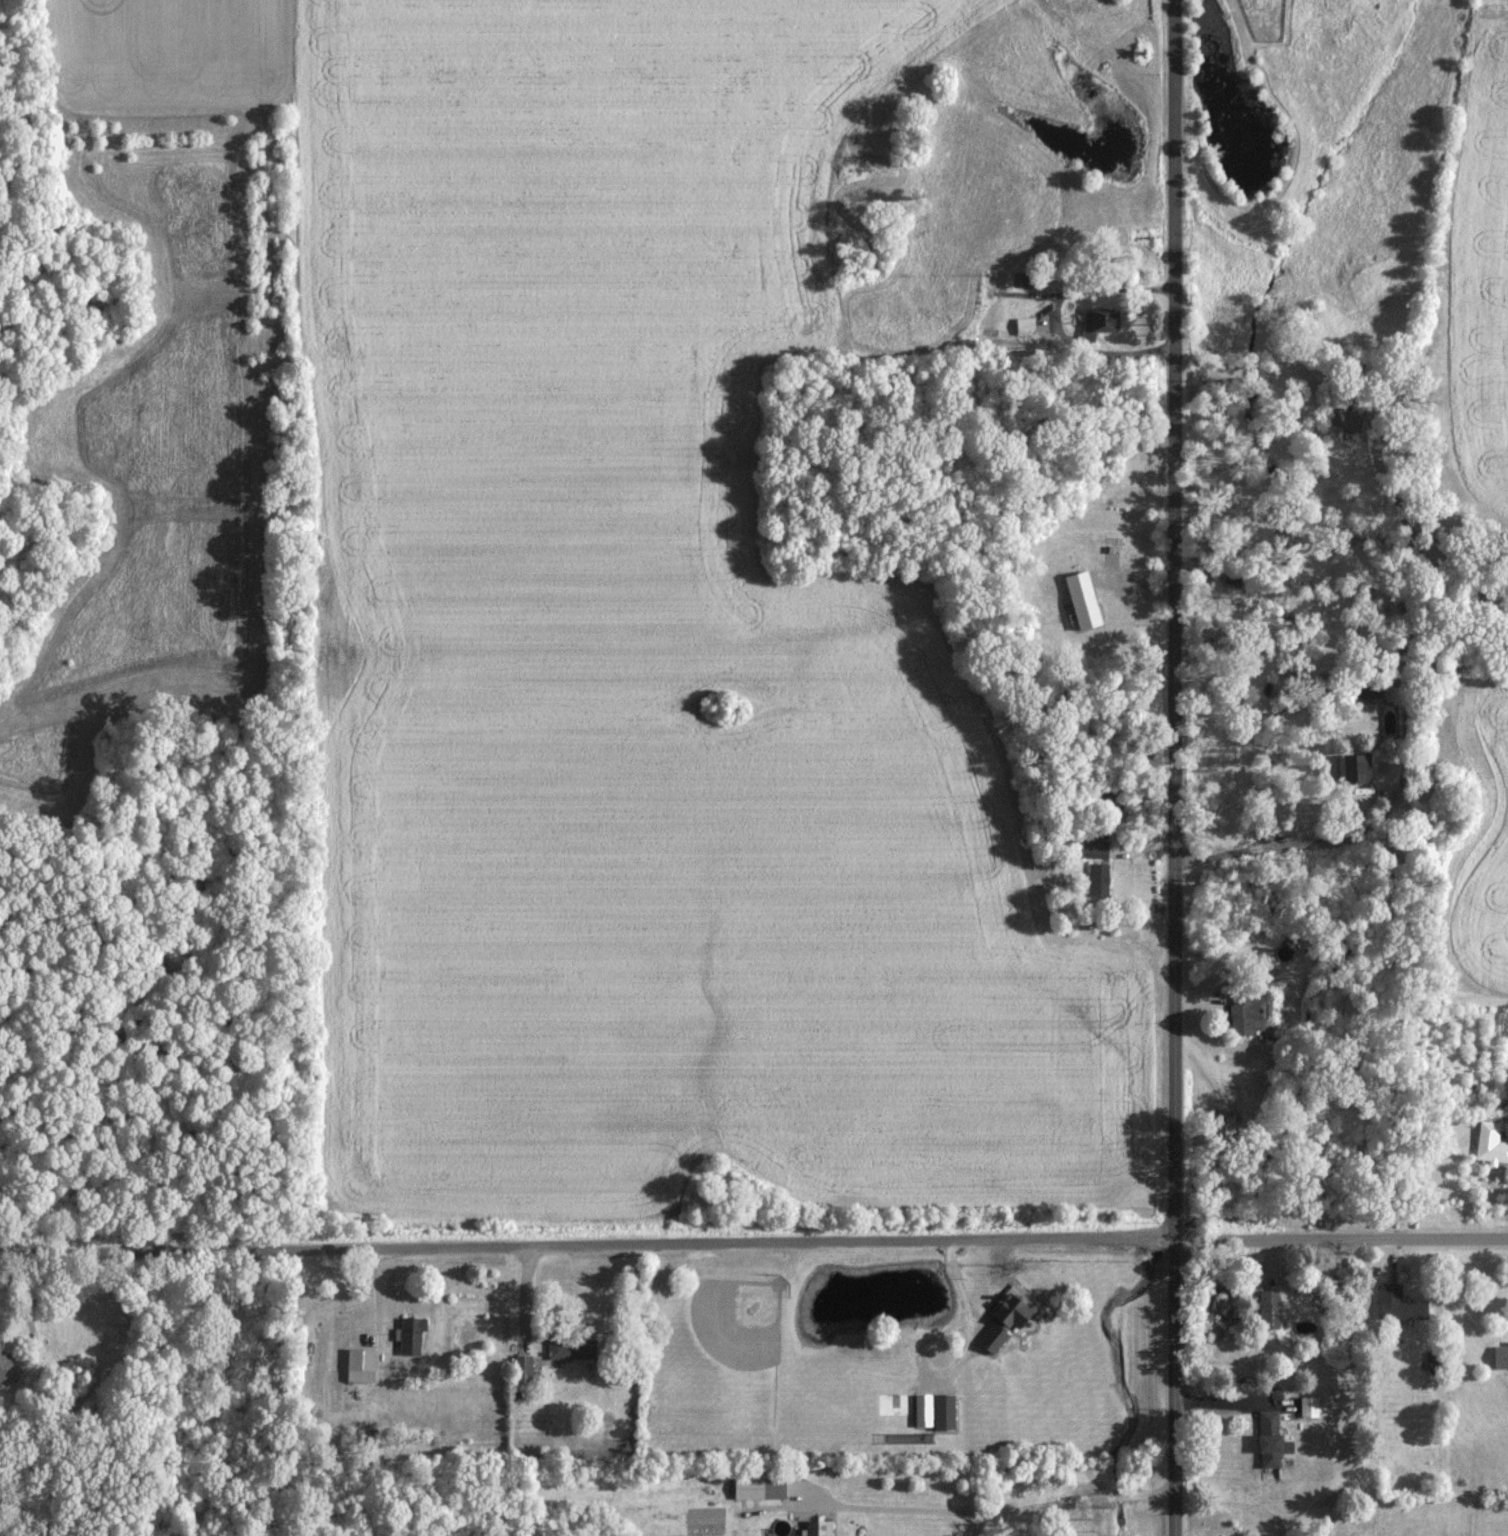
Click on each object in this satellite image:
building: (1095, 321)
building: (1024, 325)
building: (1340, 417)
building: (1079, 599)
road: (1176, 768)
building: (1352, 768)
building: (1092, 848)
building: (1096, 879)
building: (1241, 1011)
building: (1489, 1142)
road: (1342, 1240)
road: (587, 1245)
building: (1397, 1302)
building: (1266, 1307)
building: (1001, 1321)
building: (408, 1334)
building: (558, 1348)
building: (1499, 1355)
road: (960, 1360)
building: (359, 1363)
building: (521, 1366)
building: (6, 1367)
building: (1308, 1405)
building: (921, 1407)
building: (1266, 1437)
building: (1284, 1445)
building: (756, 1486)
road: (991, 1510)
building: (815, 1527)

